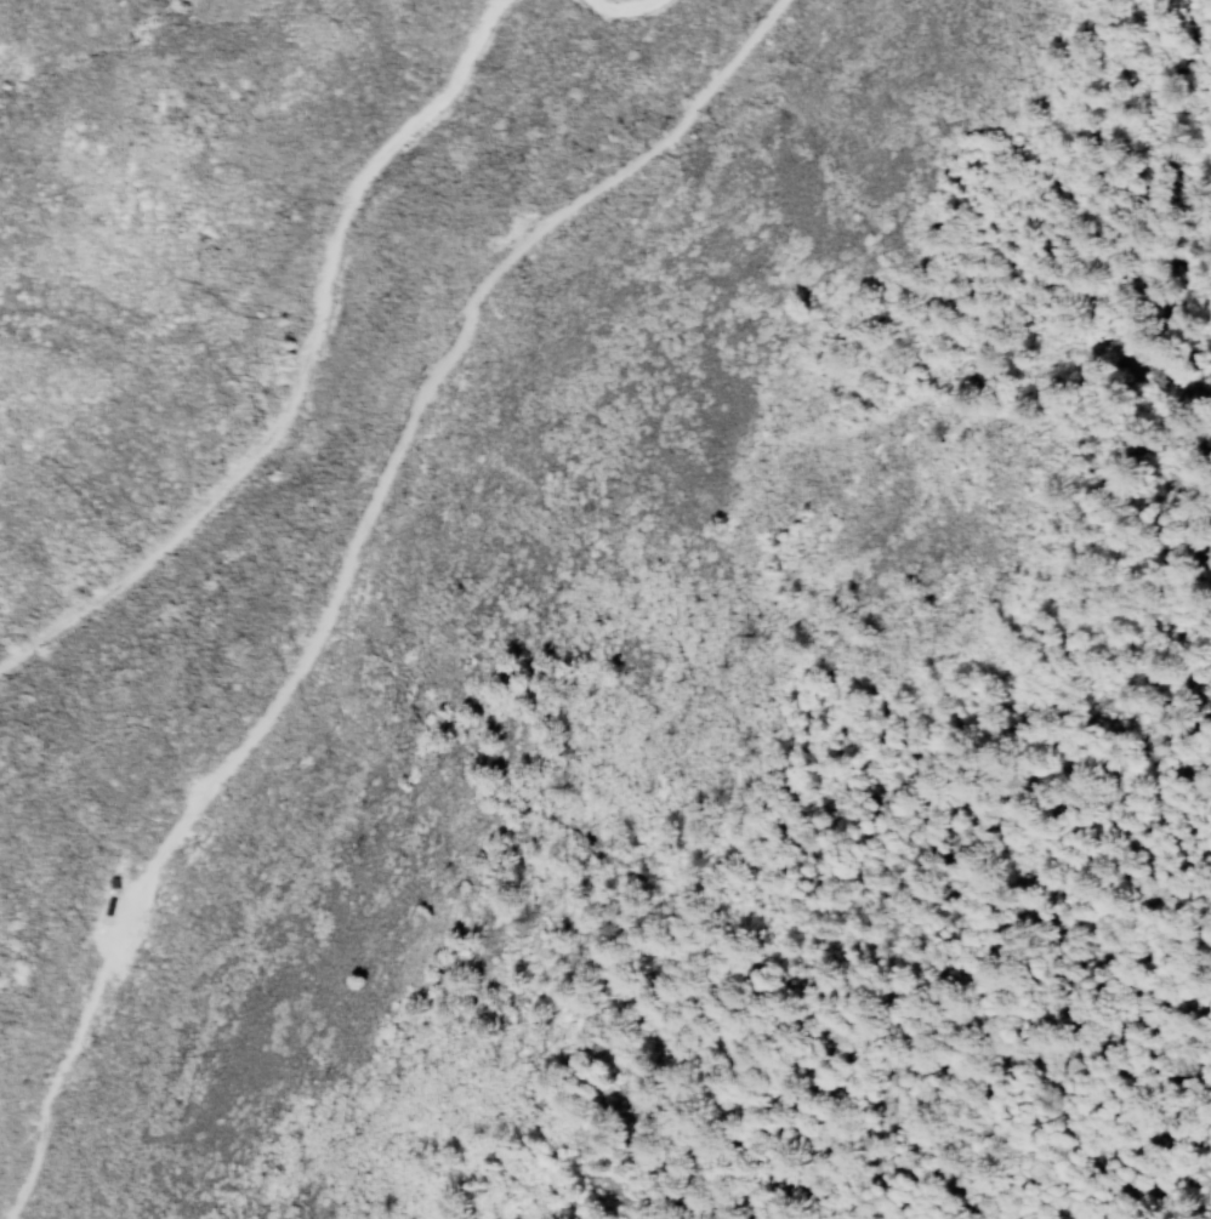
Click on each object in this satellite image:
road: (619, 12)
road: (300, 366)
road: (345, 571)

